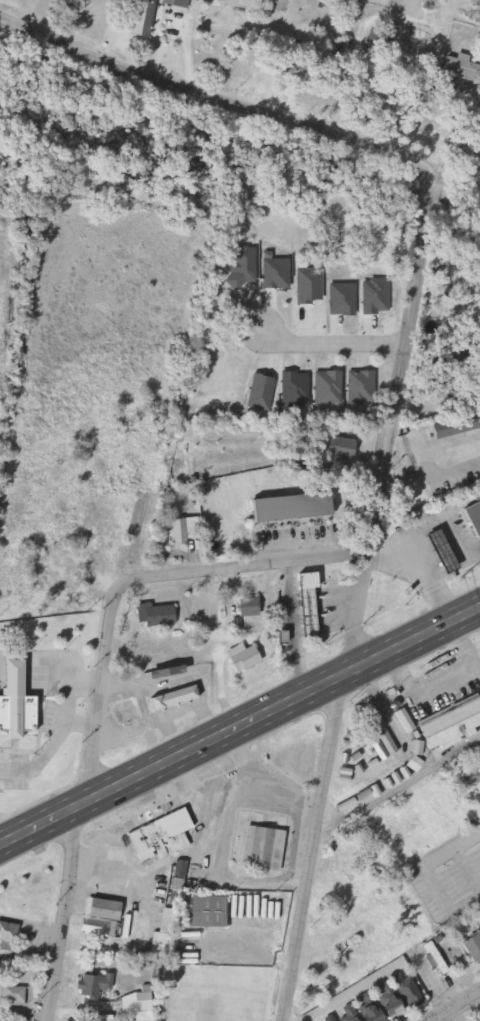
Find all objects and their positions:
building: (171, 3)
building: (134, 17)
building: (455, 67)
road: (226, 101)
road: (461, 167)
road: (328, 341)
building: (454, 425)
building: (282, 506)
building: (471, 516)
building: (174, 530)
building: (50, 575)
building: (302, 603)
building: (244, 607)
road: (355, 612)
building: (152, 616)
building: (240, 658)
road: (98, 679)
building: (12, 703)
building: (148, 704)
building: (449, 724)
road: (239, 726)
road: (398, 781)
building: (159, 830)
building: (259, 850)
building: (173, 877)
building: (197, 912)
building: (94, 918)
building: (5, 933)
building: (153, 943)
building: (470, 947)
building: (88, 985)
building: (10, 995)
road: (457, 1007)

